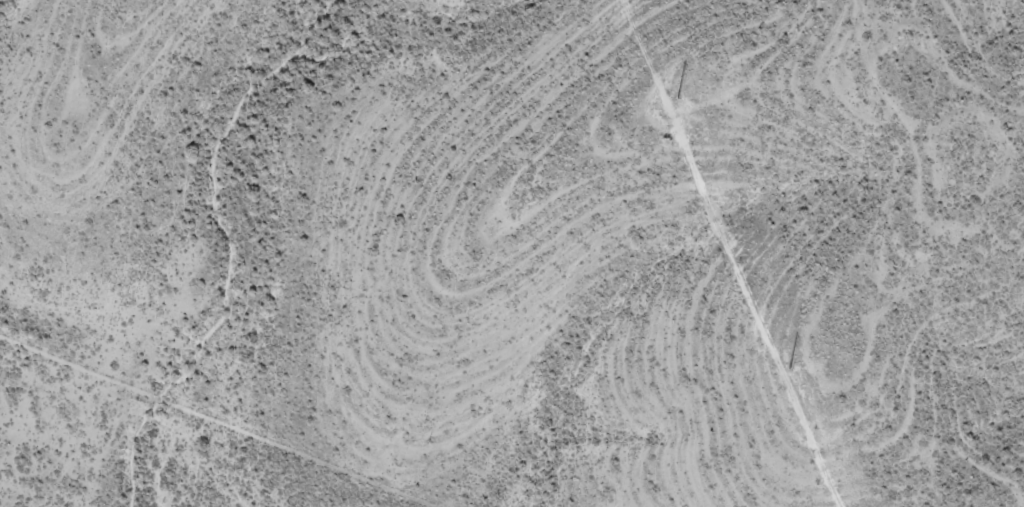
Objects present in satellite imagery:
power tower: (678, 93)
power tower: (789, 364)

